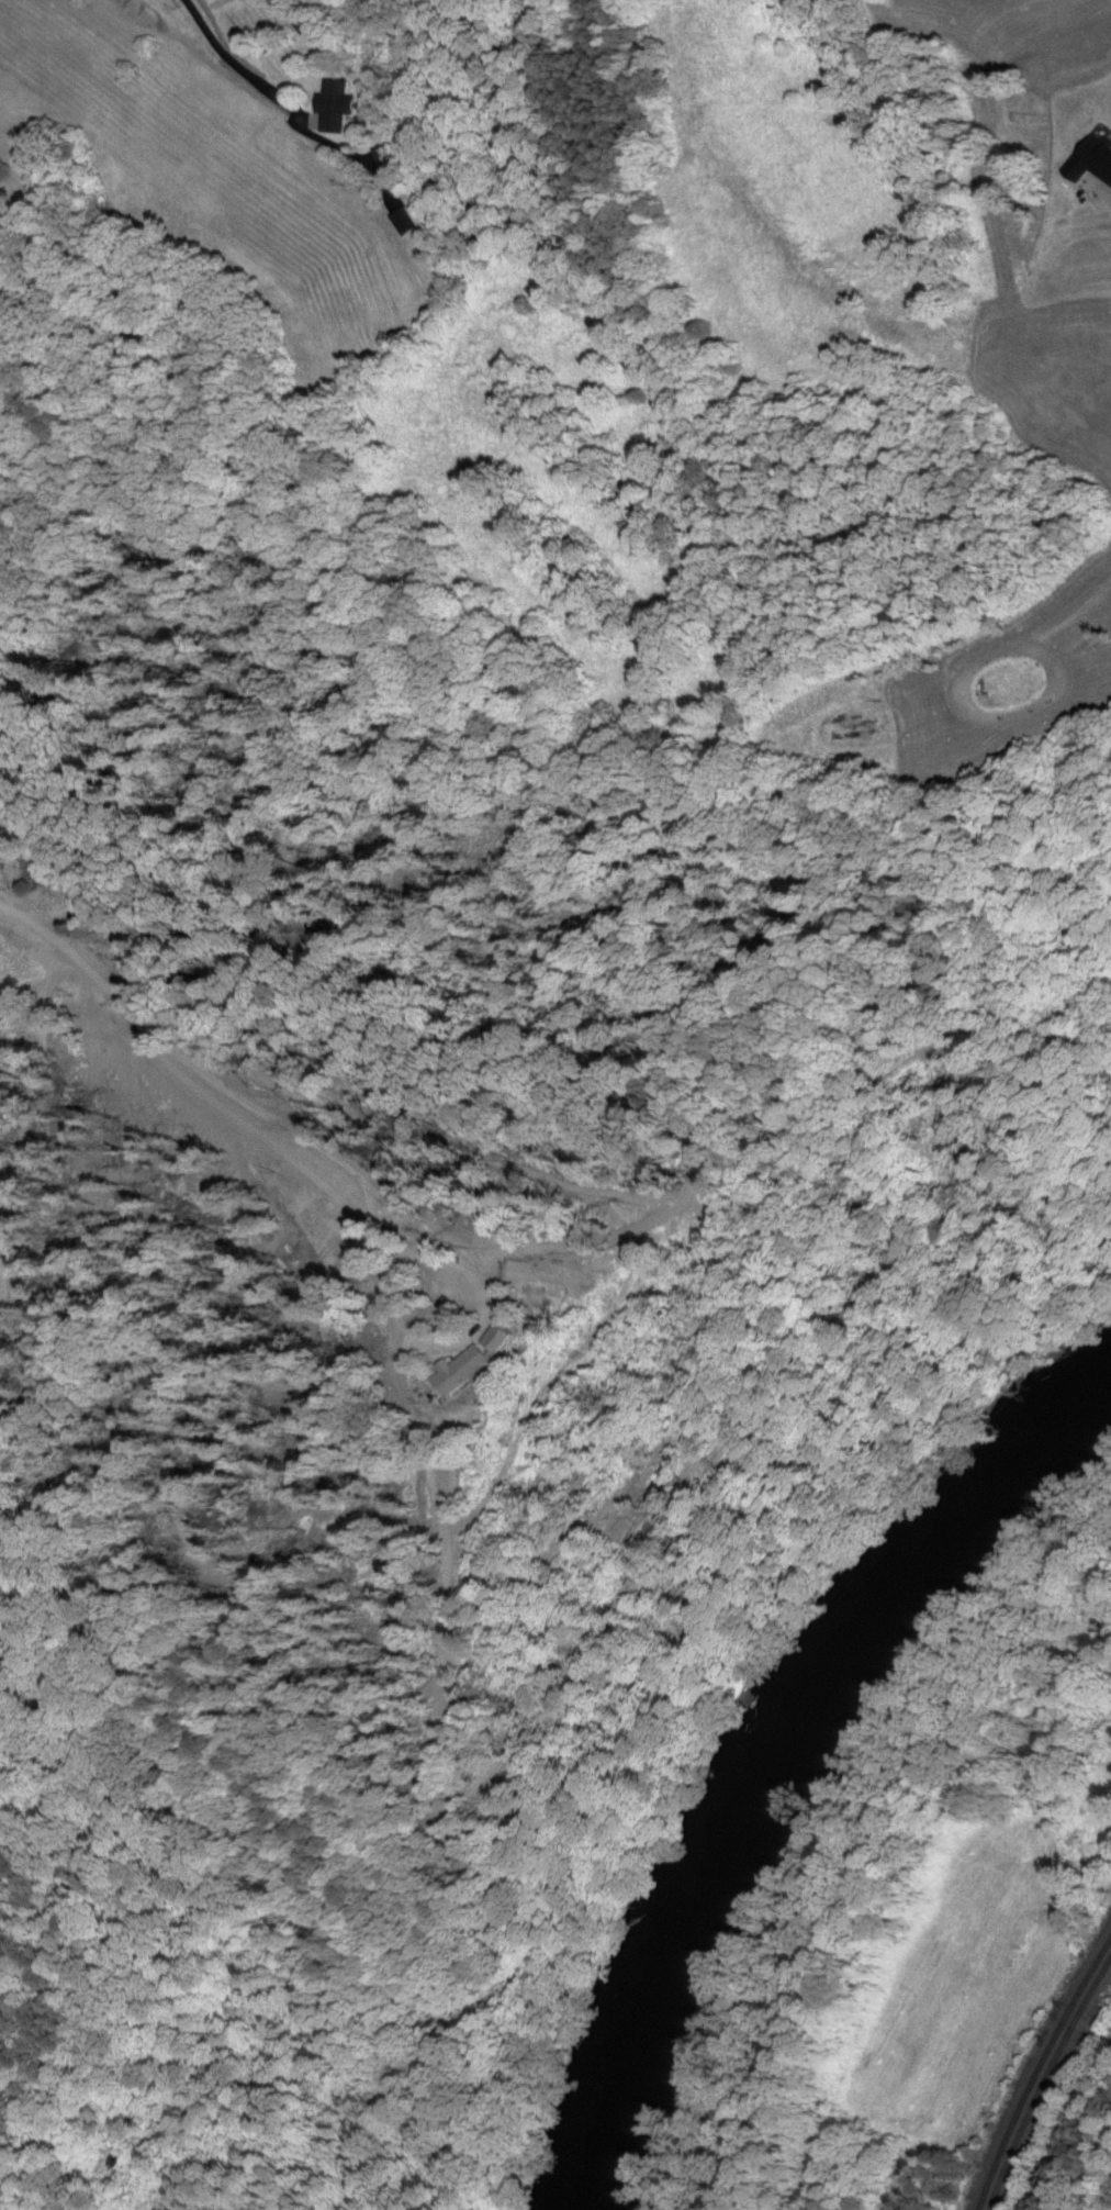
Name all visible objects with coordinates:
building: (337, 105)
building: (405, 222)
road: (186, 1083)
road: (450, 1346)
building: (480, 1360)
river: (766, 1766)
railway: (1040, 2081)
road: (1074, 2132)

